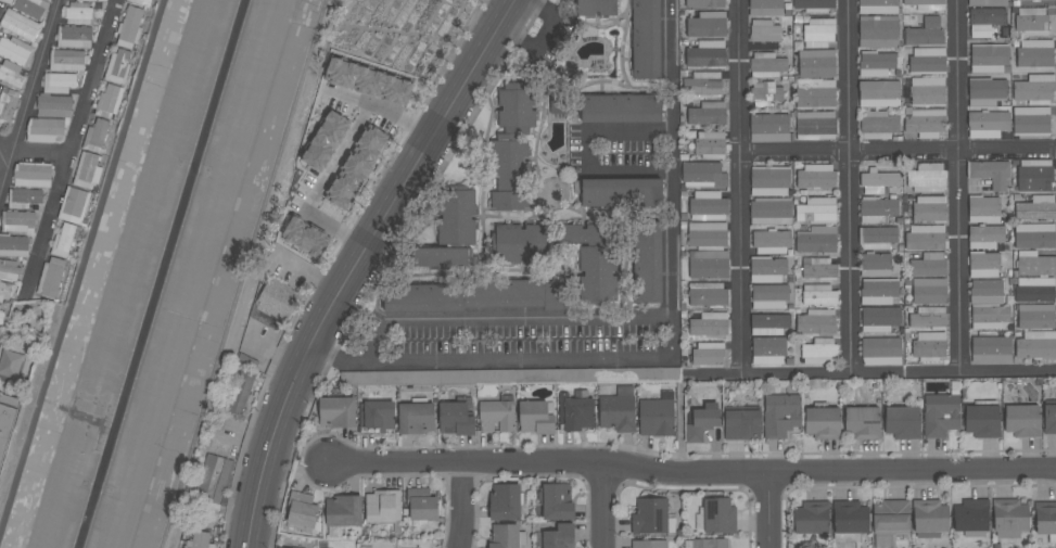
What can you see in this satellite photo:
building: (90, 0)
building: (1040, 0)
building: (7, 1)
building: (141, 2)
building: (987, 2)
building: (704, 3)
building: (926, 4)
building: (815, 5)
building: (877, 7)
building: (33, 8)
building: (596, 8)
building: (765, 8)
building: (78, 13)
building: (984, 21)
building: (1031, 21)
building: (21, 25)
building: (707, 25)
building: (130, 27)
building: (819, 29)
building: (764, 30)
building: (878, 31)
building: (925, 33)
building: (75, 37)
building: (645, 39)
building: (16, 51)
building: (1034, 53)
building: (707, 54)
building: (988, 58)
building: (68, 60)
building: (927, 60)
building: (816, 63)
building: (876, 64)
building: (767, 65)
building: (118, 67)
building: (11, 74)
building: (368, 81)
building: (60, 82)
building: (702, 85)
building: (1034, 90)
road: (28, 91)
building: (927, 91)
building: (985, 91)
building: (765, 94)
building: (815, 94)
building: (878, 94)
road: (346, 98)
building: (109, 101)
building: (8, 105)
building: (51, 105)
building: (556, 105)
building: (620, 109)
building: (707, 114)
road: (399, 116)
building: (1030, 120)
building: (925, 123)
building: (987, 124)
building: (815, 126)
building: (878, 126)
building: (768, 128)
building: (44, 129)
building: (97, 136)
building: (326, 141)
road: (71, 142)
building: (709, 145)
building: (511, 146)
road: (4, 149)
road: (585, 153)
road: (38, 154)
road: (895, 155)
building: (356, 167)
building: (88, 170)
building: (990, 173)
building: (33, 174)
building: (702, 175)
building: (1034, 176)
building: (815, 177)
building: (926, 178)
building: (769, 181)
building: (878, 181)
road: (957, 186)
road: (737, 187)
road: (849, 187)
road: (319, 188)
building: (621, 192)
building: (24, 197)
building: (74, 206)
building: (708, 206)
building: (929, 208)
building: (1036, 208)
building: (877, 209)
building: (983, 209)
building: (771, 211)
building: (816, 211)
building: (456, 217)
building: (18, 221)
building: (1034, 235)
building: (305, 237)
building: (984, 237)
building: (877, 238)
building: (925, 238)
building: (816, 240)
building: (65, 241)
building: (771, 242)
building: (14, 245)
building: (513, 250)
building: (708, 250)
building: (443, 257)
building: (1034, 264)
road: (81, 265)
road: (356, 265)
building: (647, 265)
building: (875, 265)
building: (928, 265)
building: (983, 265)
building: (818, 269)
building: (9, 270)
building: (767, 270)
road: (242, 273)
road: (308, 273)
building: (595, 275)
building: (52, 278)
building: (1034, 290)
building: (7, 291)
building: (929, 291)
building: (878, 292)
building: (985, 292)
building: (707, 294)
building: (819, 295)
building: (768, 296)
building: (472, 298)
building: (275, 303)
building: (0, 306)
building: (1035, 316)
building: (1, 317)
building: (990, 317)
road: (508, 318)
building: (928, 318)
building: (879, 319)
building: (816, 322)
building: (709, 324)
building: (768, 324)
building: (1036, 345)
building: (928, 346)
building: (991, 349)
building: (768, 351)
building: (880, 351)
building: (819, 352)
building: (708, 354)
road: (667, 358)
building: (11, 364)
road: (870, 372)
building: (242, 392)
building: (575, 410)
building: (618, 410)
building: (336, 412)
building: (377, 415)
building: (780, 415)
building: (940, 415)
building: (496, 416)
building: (657, 416)
building: (535, 417)
building: (416, 418)
building: (1049, 418)
building: (455, 419)
building: (7, 420)
building: (982, 421)
building: (1021, 421)
building: (702, 422)
building: (862, 422)
building: (902, 422)
building: (823, 423)
building: (741, 424)
road: (692, 474)
building: (215, 480)
building: (556, 501)
building: (505, 502)
road: (462, 504)
building: (421, 505)
road: (606, 506)
building: (382, 507)
building: (302, 510)
road: (767, 510)
building: (343, 511)
building: (715, 517)
building: (652, 518)
building: (812, 518)
building: (890, 518)
building: (971, 518)
building: (1009, 518)
building: (929, 519)
building: (1045, 520)
building: (849, 521)
building: (504, 536)
building: (558, 537)
building: (201, 540)
building: (709, 543)
building: (648, 544)
building: (278, 547)

